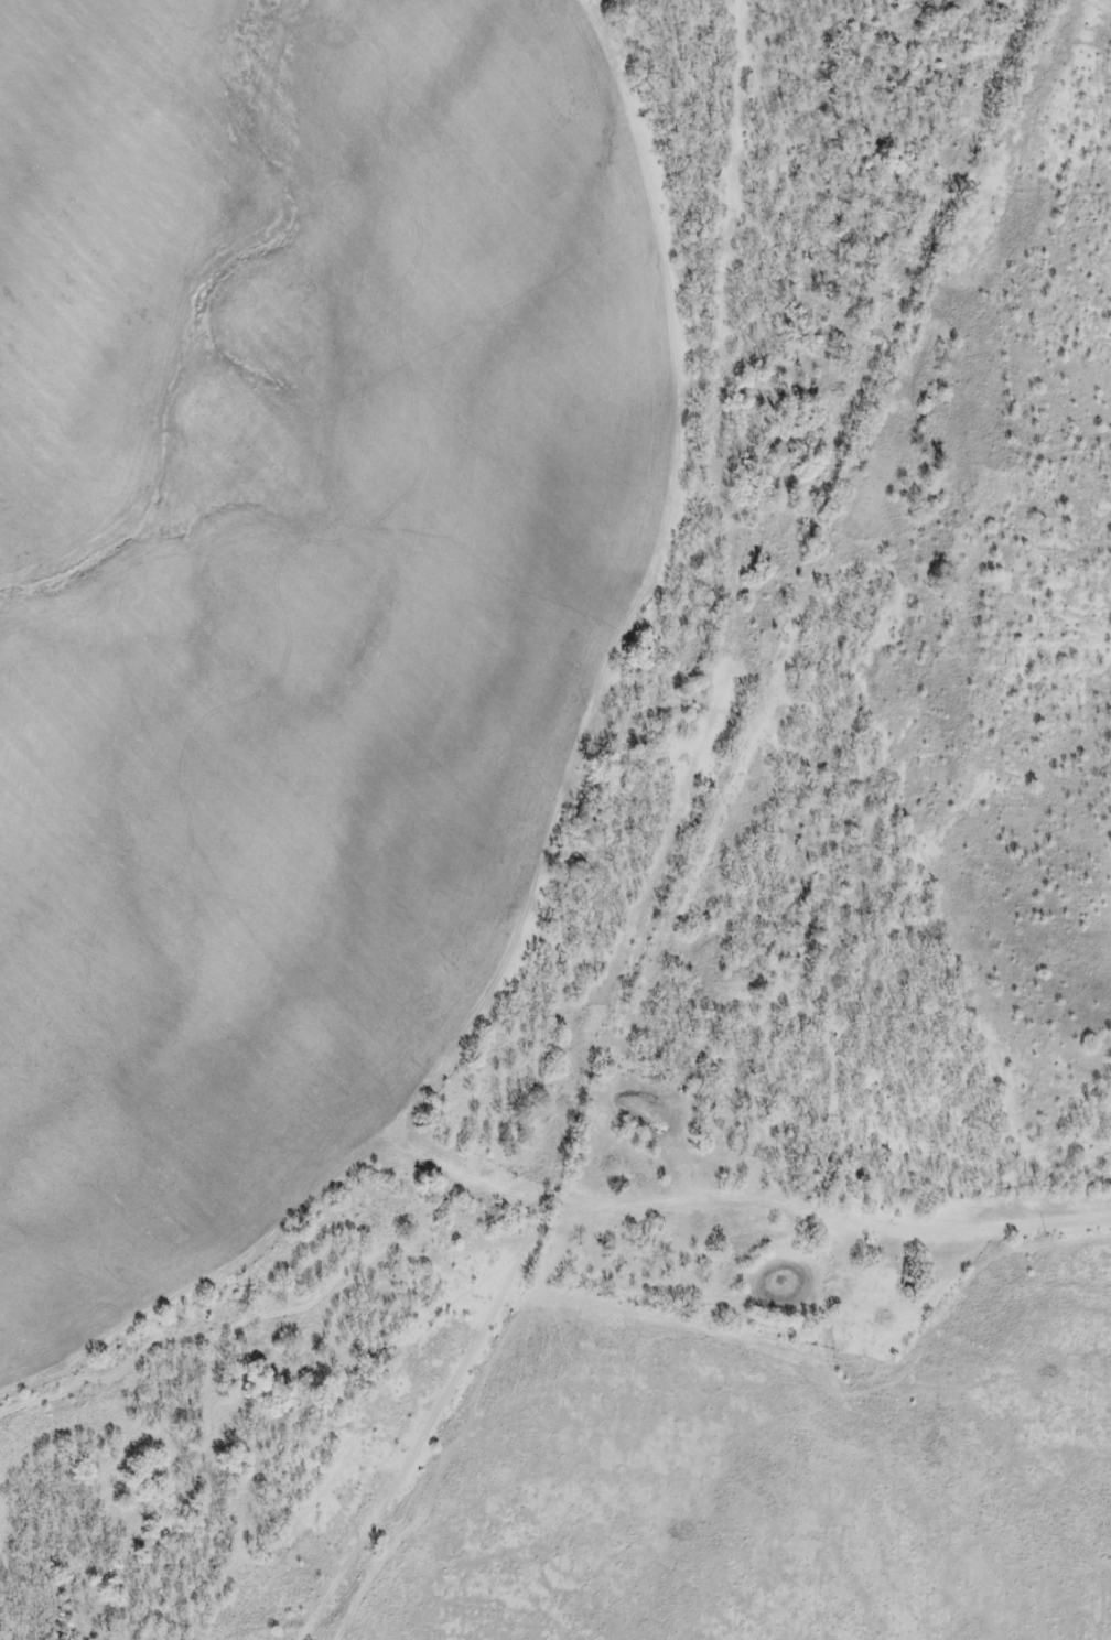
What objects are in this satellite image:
road: (744, 1055)

